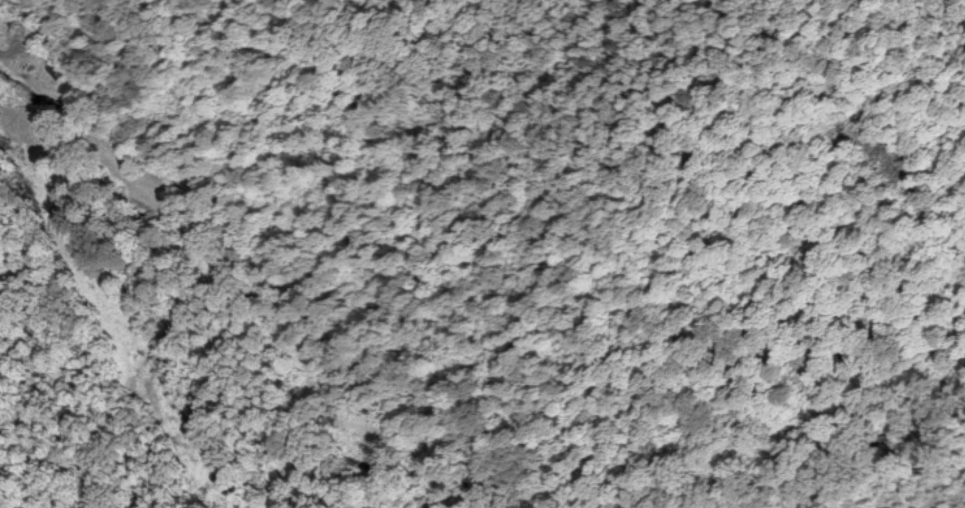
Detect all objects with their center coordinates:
building: (0, 13)
building: (444, 504)

